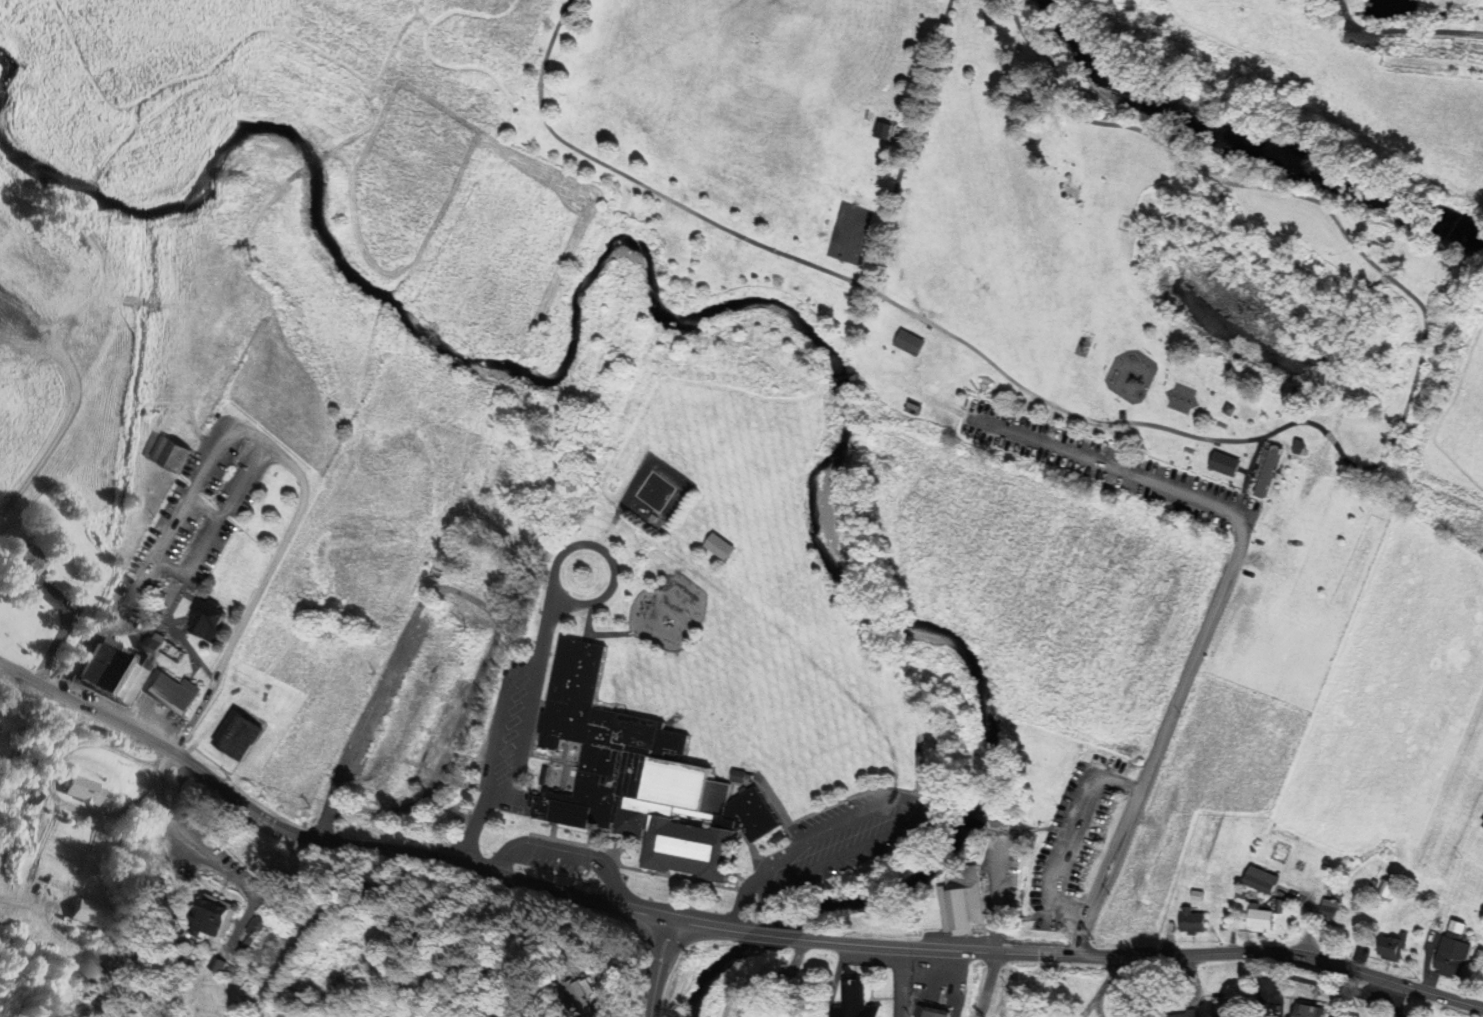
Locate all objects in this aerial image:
road: (476, 5)
road: (1403, 30)
parking lot: (1359, 36)
road: (381, 53)
road: (491, 63)
road: (173, 71)
building: (966, 72)
road: (1083, 116)
building: (896, 129)
building: (879, 130)
road: (892, 131)
building: (979, 131)
road: (907, 141)
river: (1236, 141)
road: (1215, 176)
road: (643, 181)
park: (848, 232)
river: (1471, 234)
park: (1011, 264)
building: (907, 342)
building: (918, 342)
road: (839, 377)
road: (913, 389)
building: (912, 408)
building: (1227, 409)
road: (1316, 424)
road: (265, 443)
building: (1297, 443)
road: (1120, 444)
building: (174, 454)
building: (1223, 463)
parking lot: (1109, 466)
building: (1265, 474)
building: (725, 547)
building: (32, 561)
road: (1214, 605)
building: (209, 621)
building: (99, 661)
building: (133, 674)
road: (6, 679)
building: (174, 692)
building: (415, 701)
building: (239, 734)
road: (42, 745)
building: (642, 779)
road: (49, 780)
building: (88, 791)
road: (166, 811)
building: (1482, 828)
road: (316, 841)
building: (1296, 873)
building: (1260, 880)
road: (12, 902)
building: (964, 902)
building: (1329, 912)
building: (93, 915)
building: (1259, 920)
building: (213, 922)
building: (1192, 922)
road: (710, 926)
building: (249, 932)
road: (772, 935)
building: (1386, 948)
road: (1143, 955)
building: (1447, 955)
road: (659, 967)
road: (987, 984)
road: (1105, 986)
building: (856, 998)
building: (770, 1010)
building: (1311, 1010)
road: (1088, 1011)
building: (932, 1012)
building: (1217, 1014)

